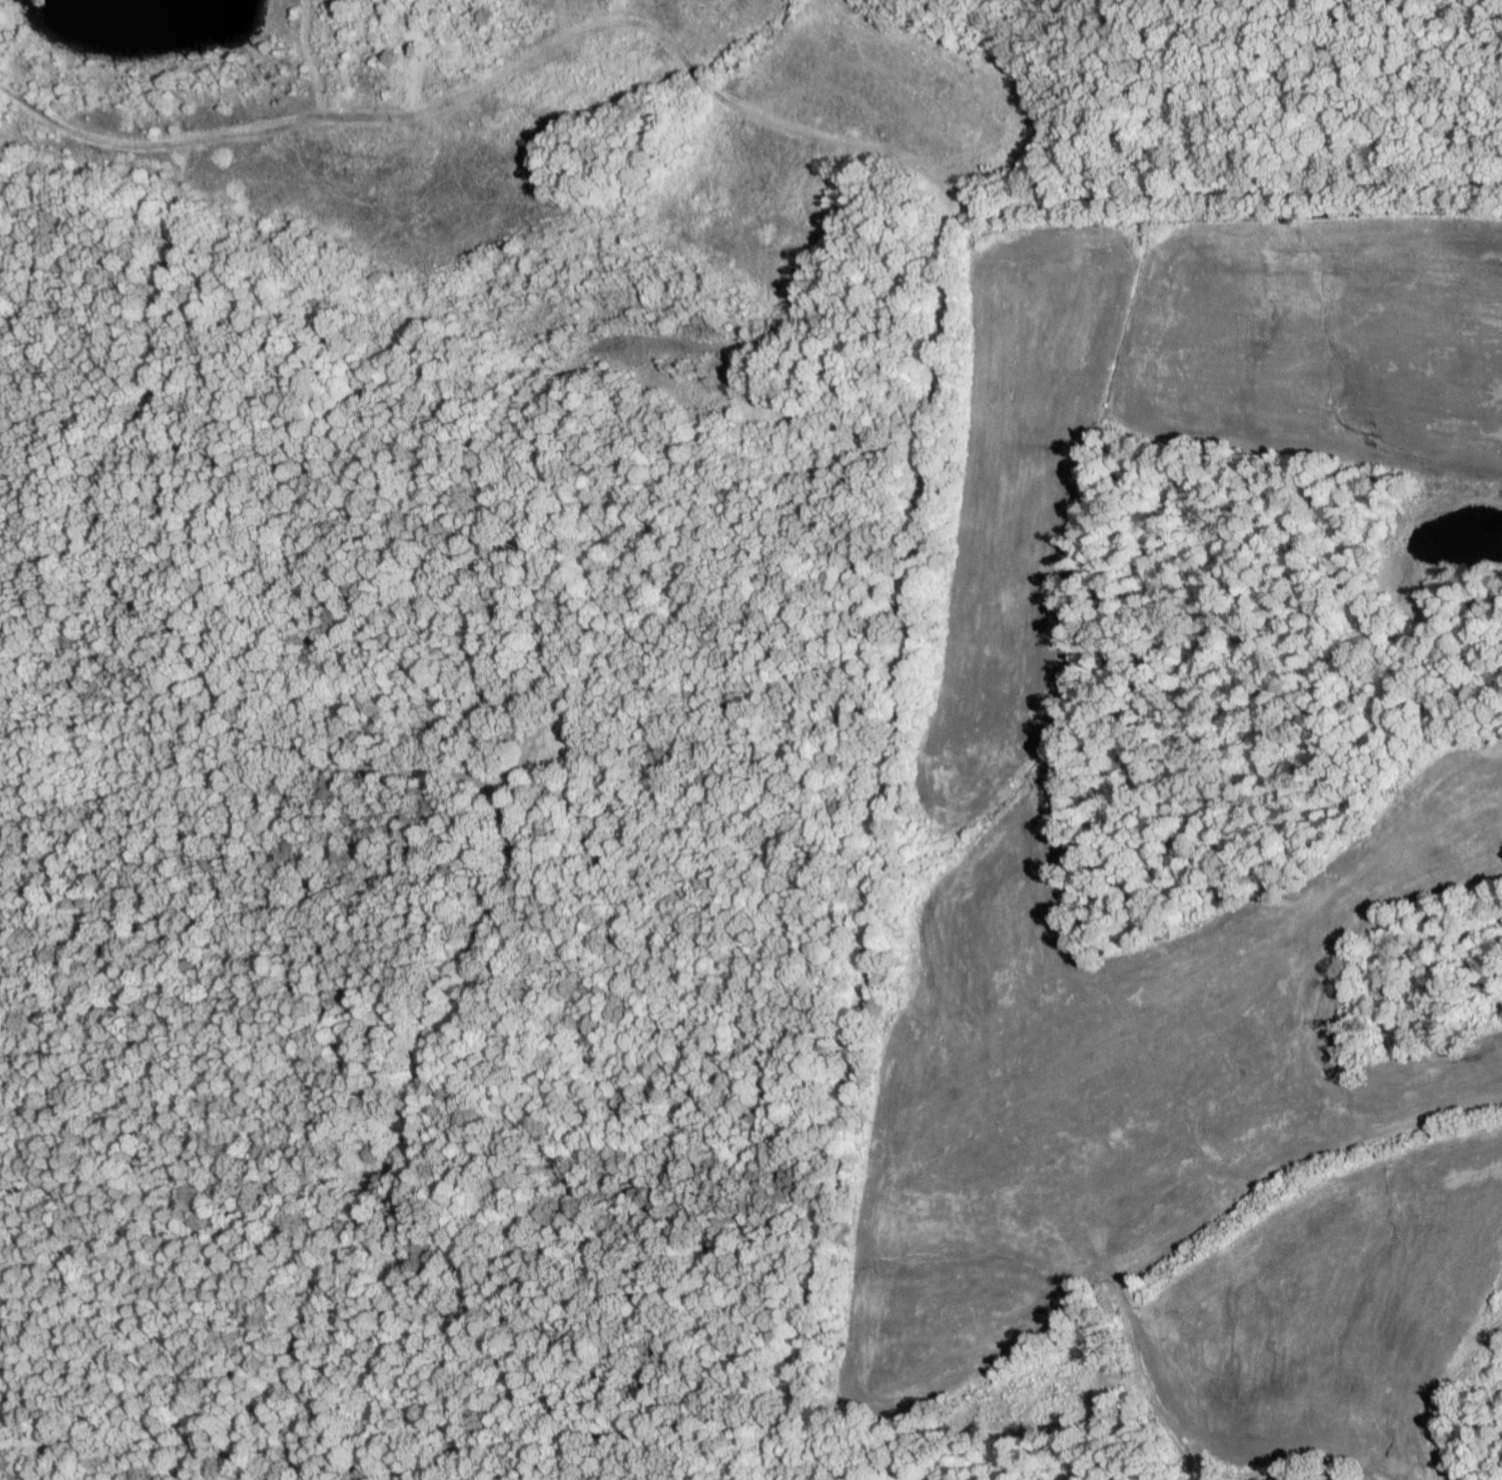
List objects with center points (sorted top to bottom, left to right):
road: (1342, 1479)

